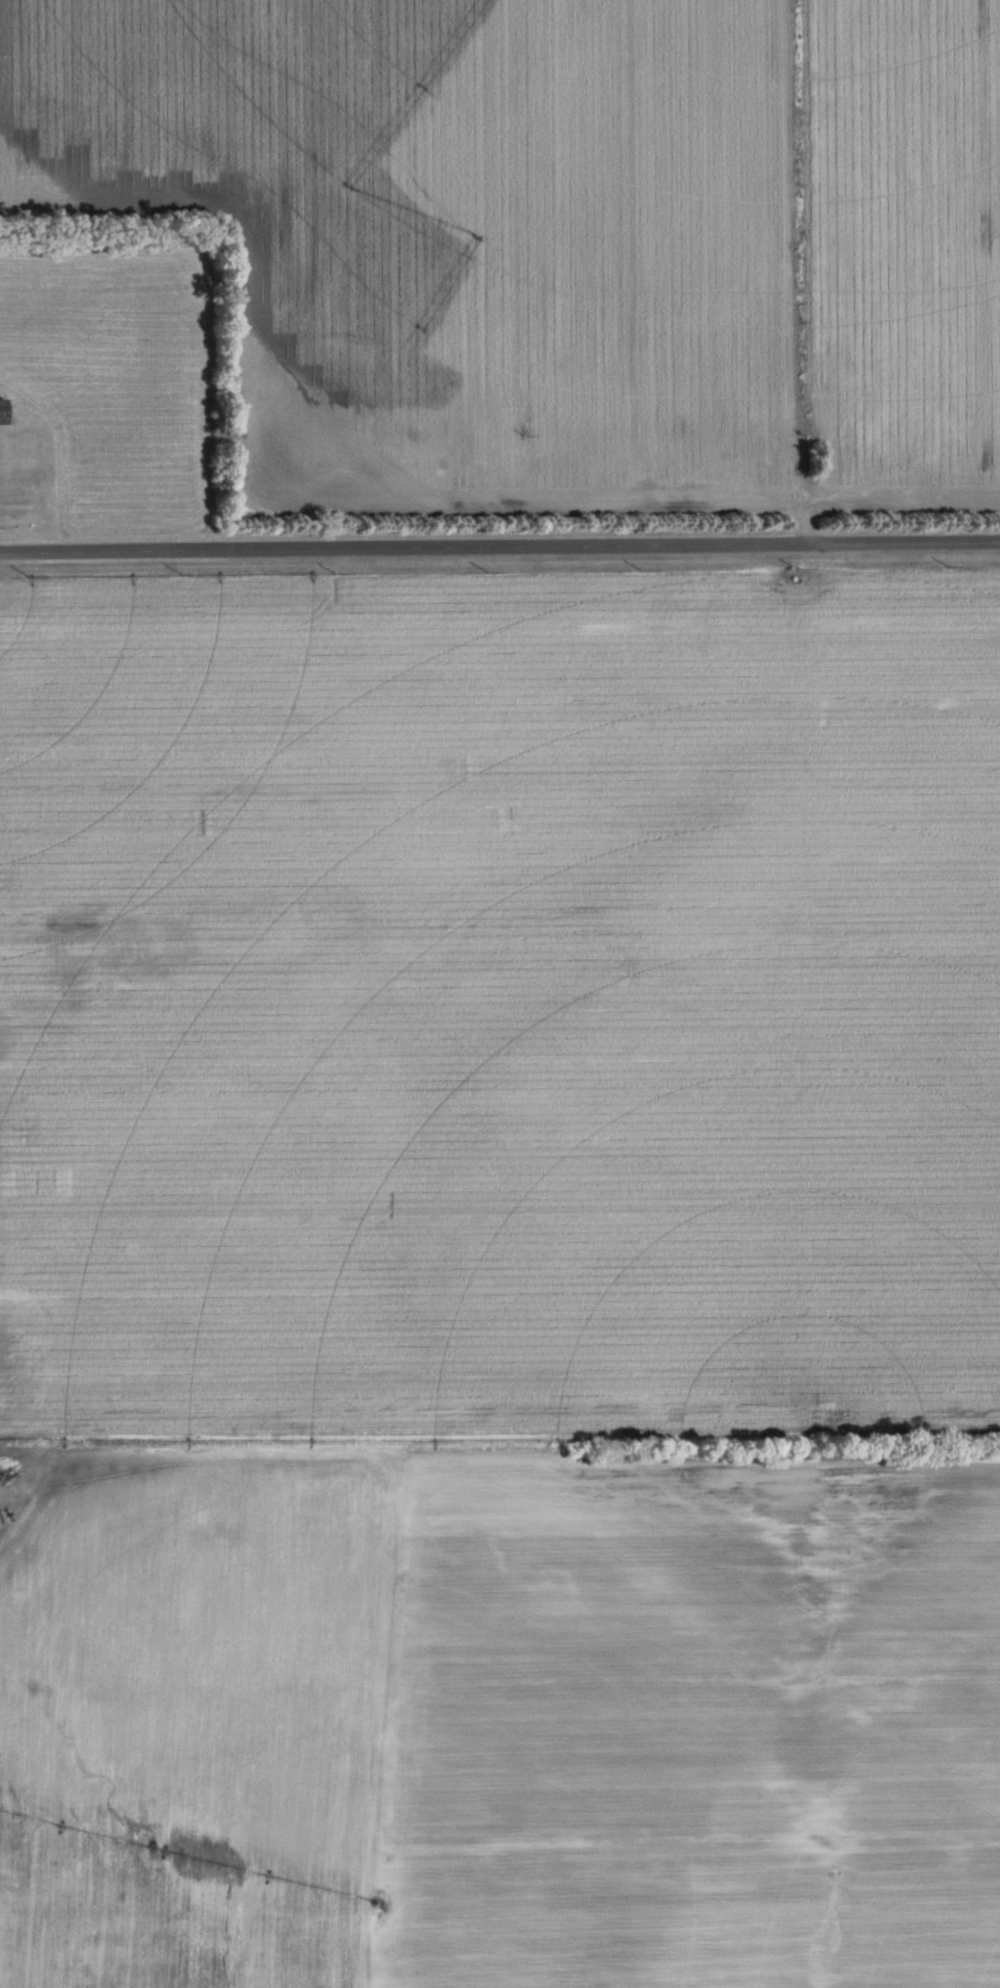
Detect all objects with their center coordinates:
crop: (461, 238)
crop: (909, 252)
crop: (117, 368)
building: (3, 412)
road: (500, 555)
crop: (500, 1012)
crop: (502, 1716)

